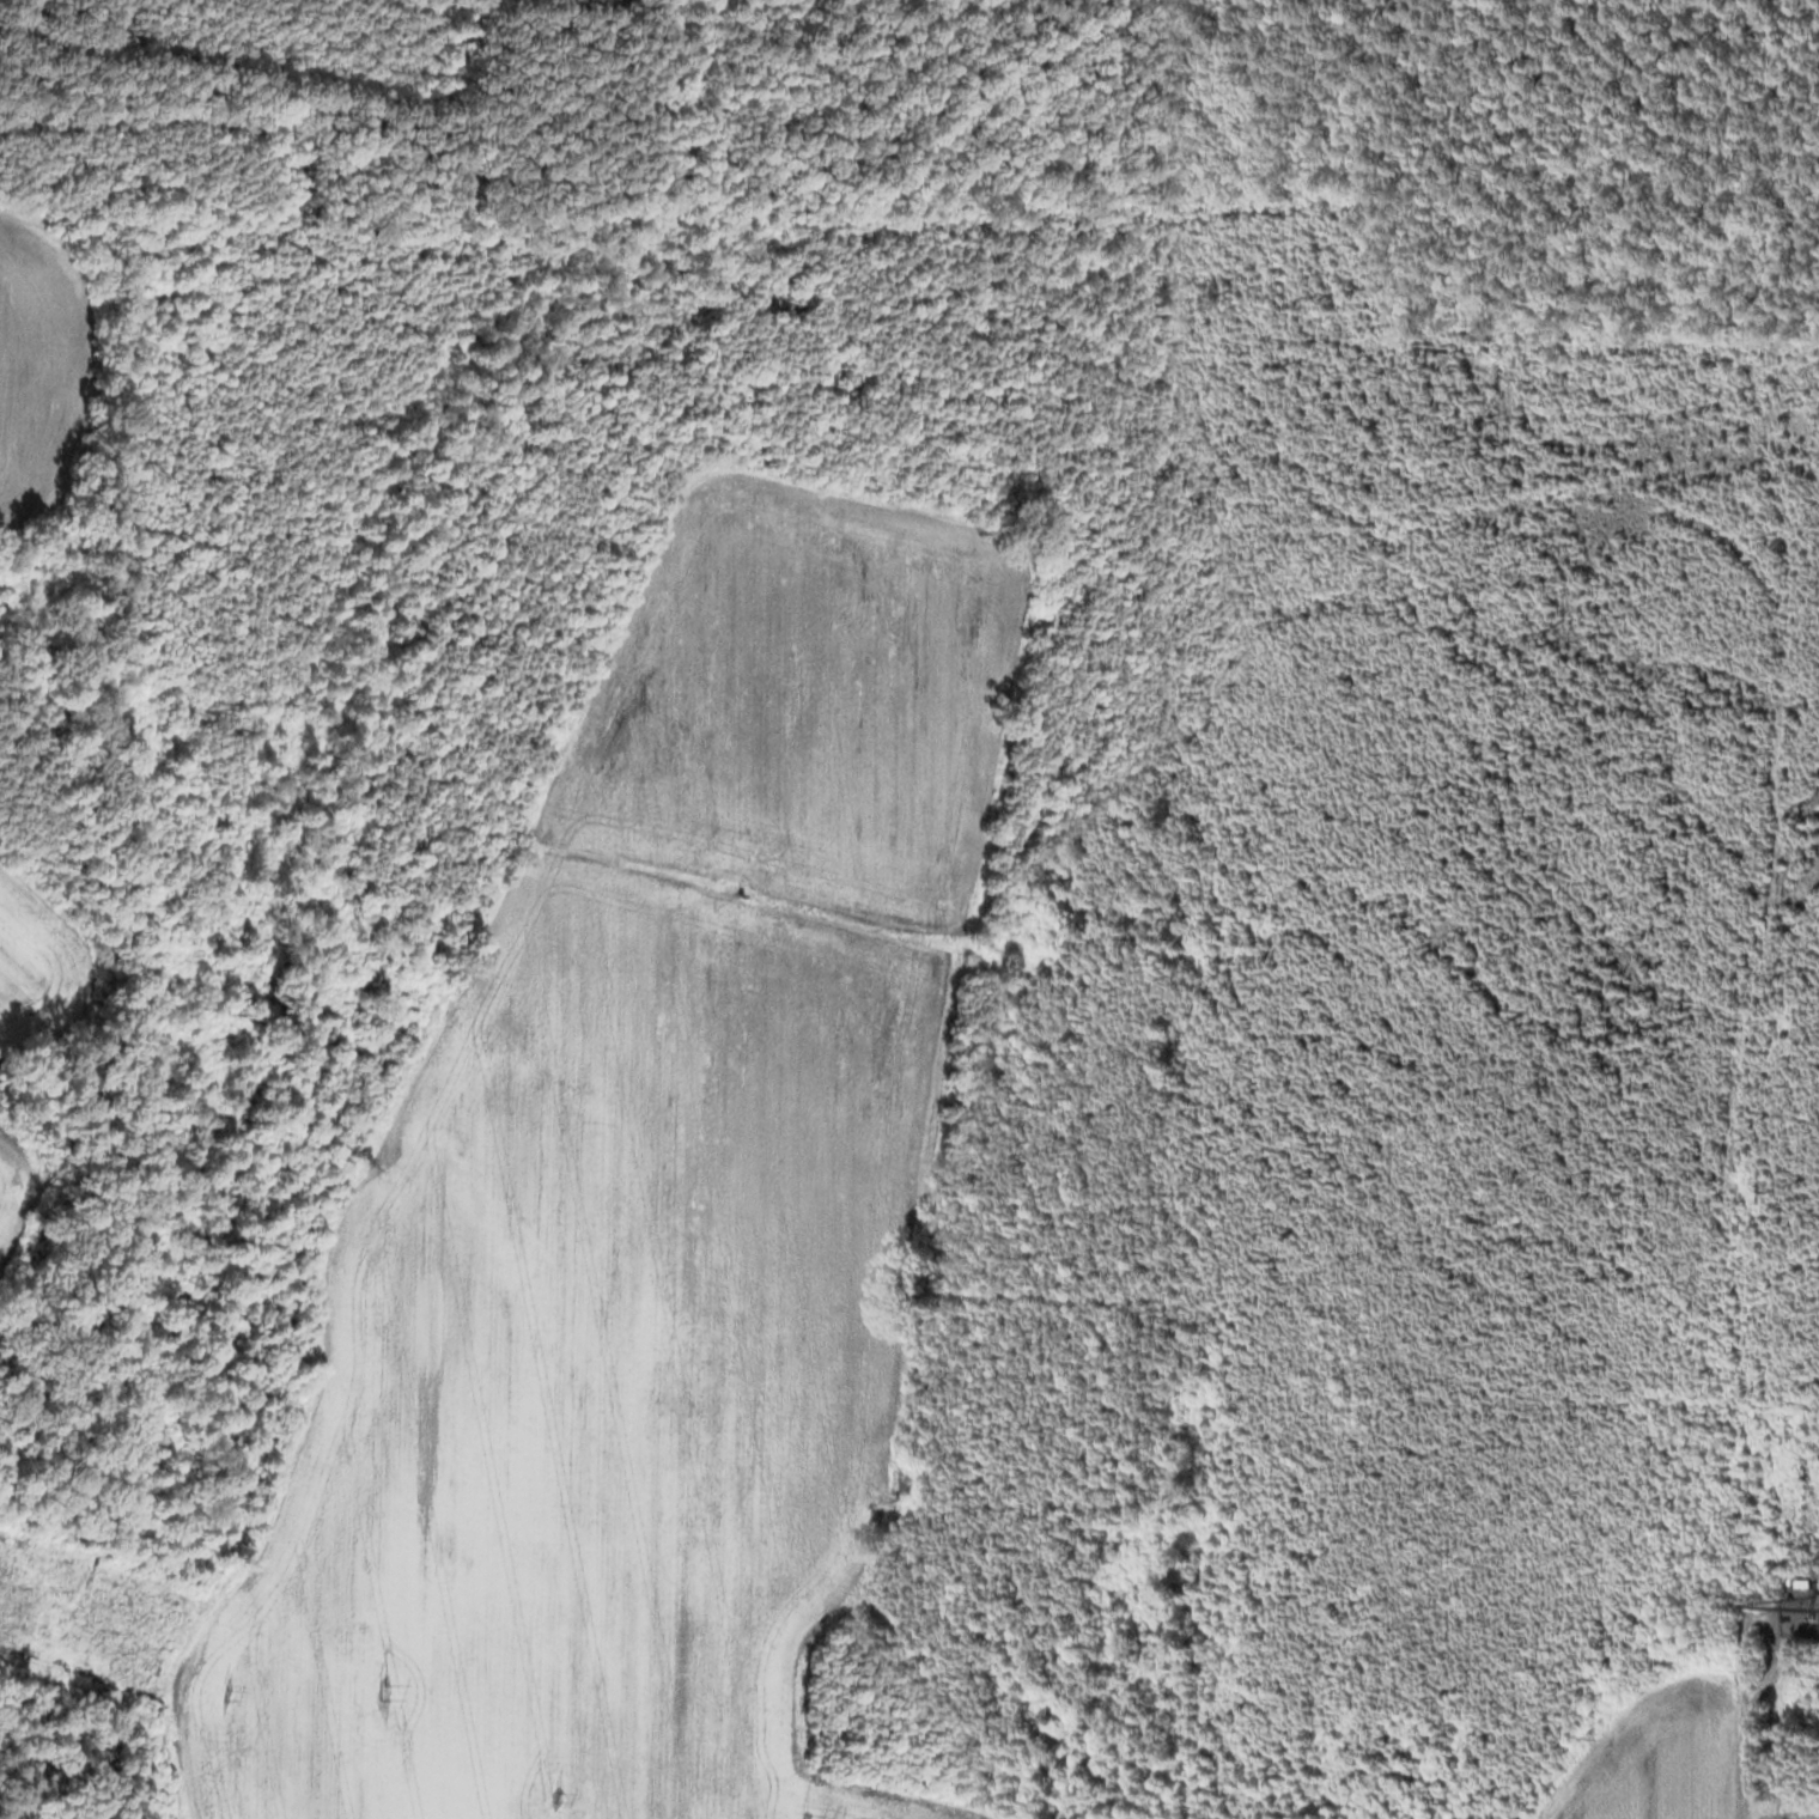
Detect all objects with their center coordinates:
power tower: (387, 1692)
power tower: (803, 1818)

